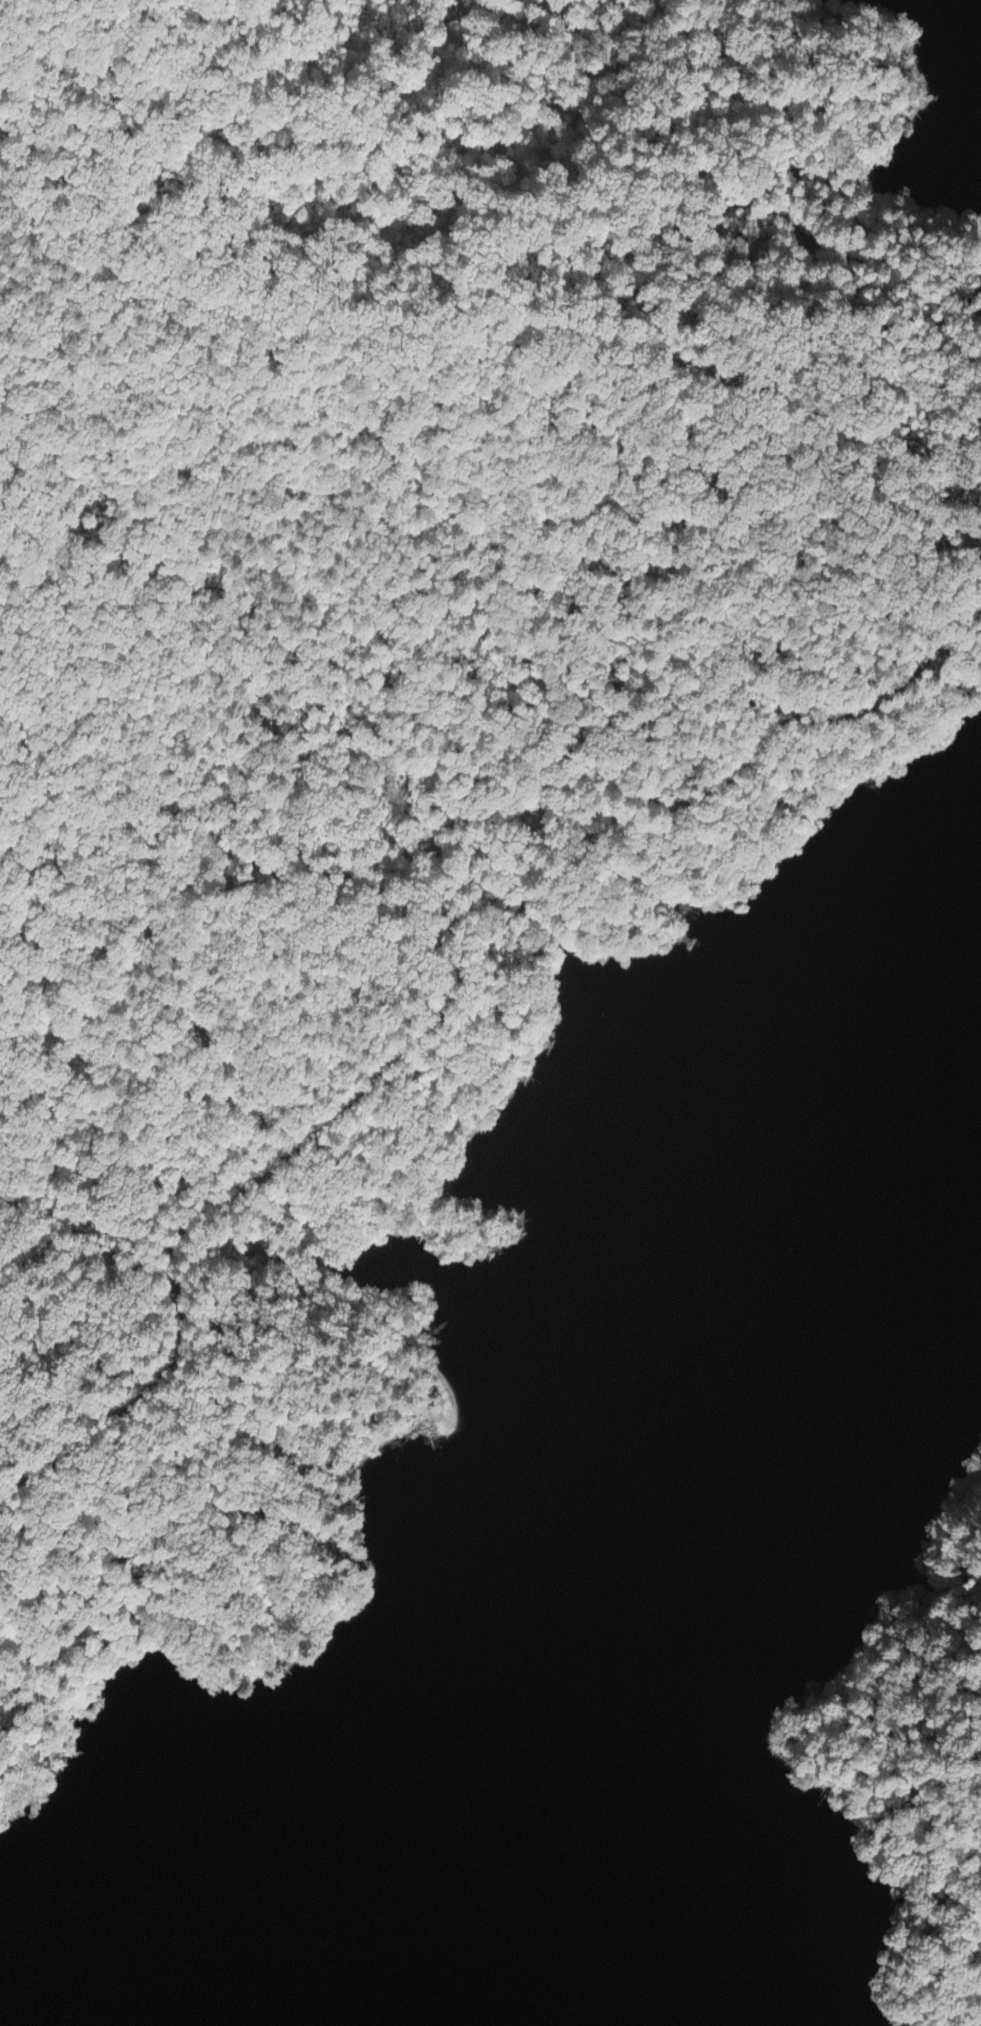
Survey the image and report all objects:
road: (811, 182)
road: (475, 988)

